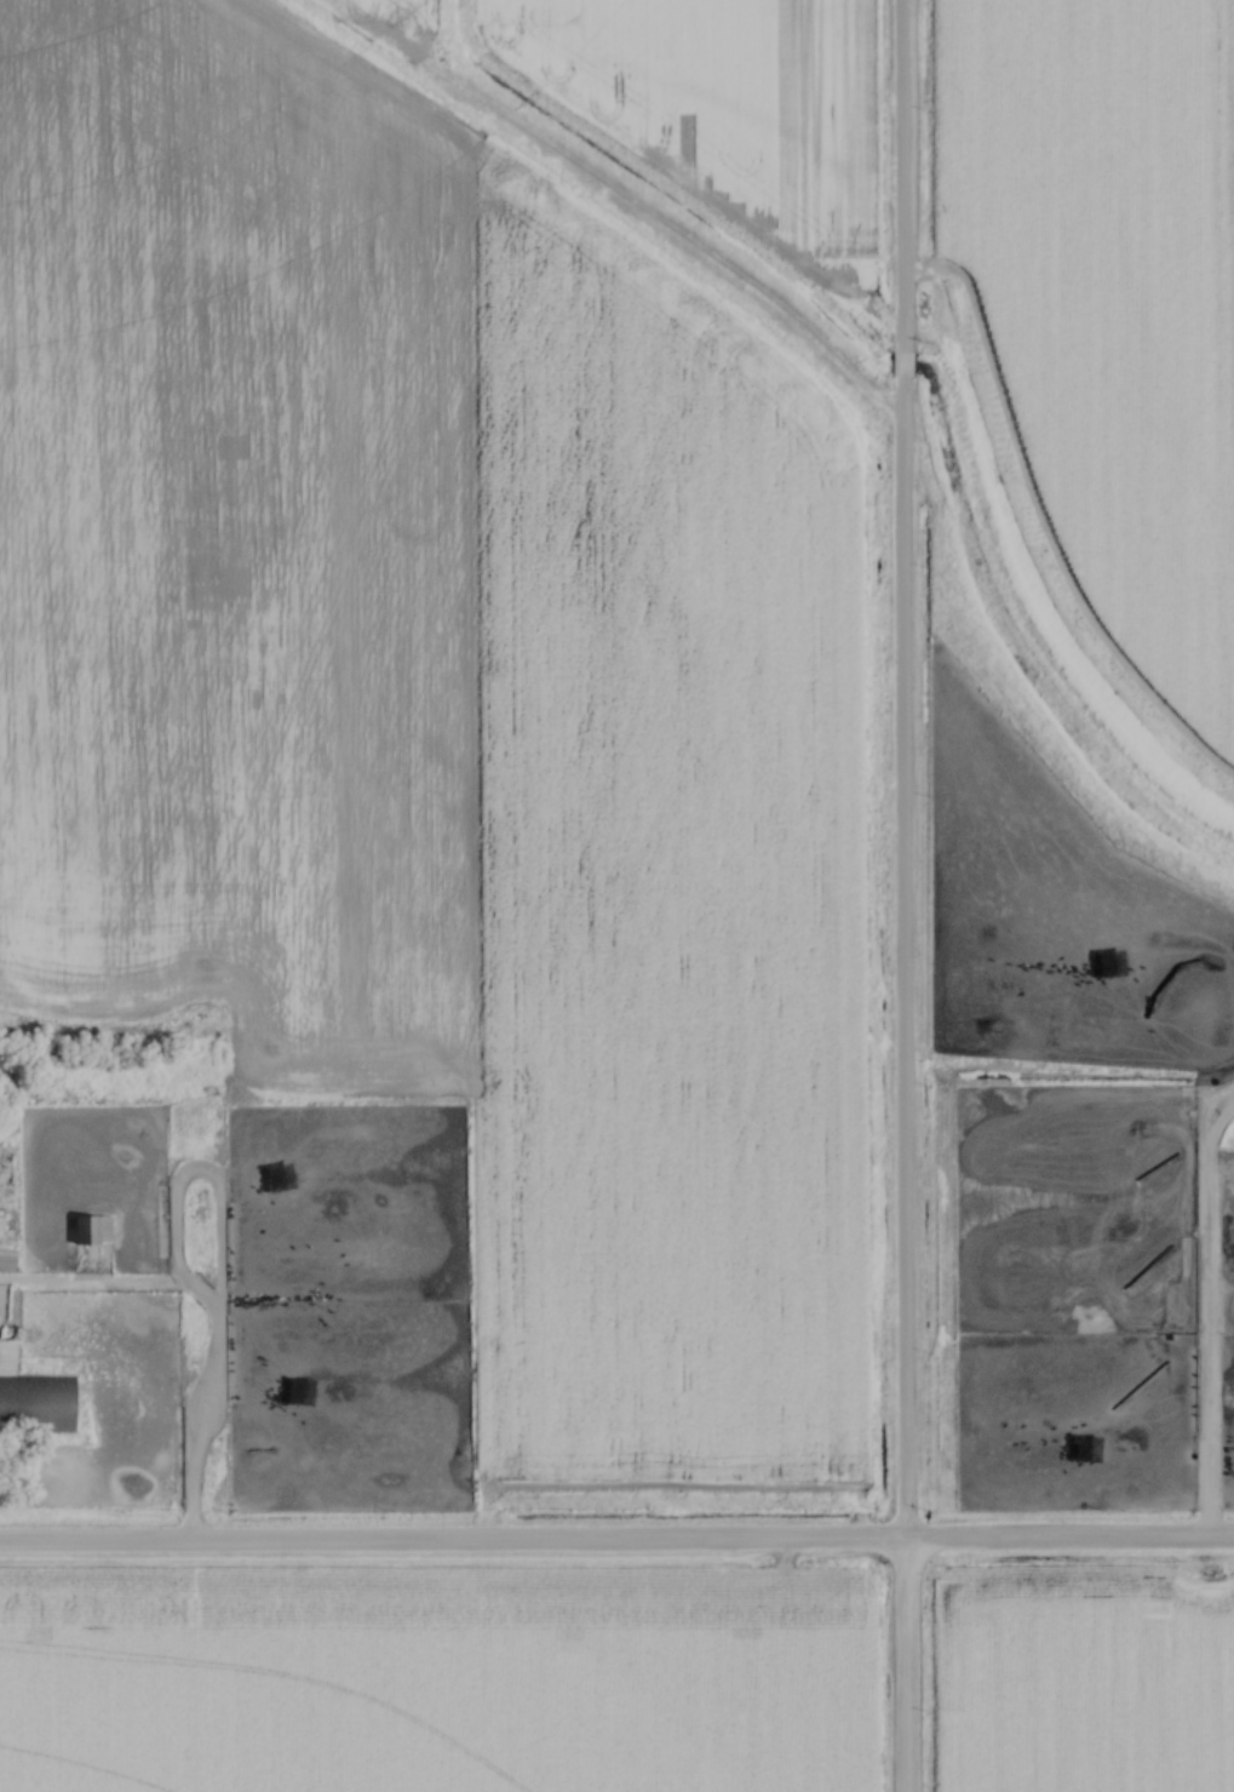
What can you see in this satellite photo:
river: (655, 193)
river: (900, 366)
river: (1015, 651)
road: (901, 895)
building: (90, 1231)
road: (210, 1323)
building: (36, 1403)
road: (616, 1546)

